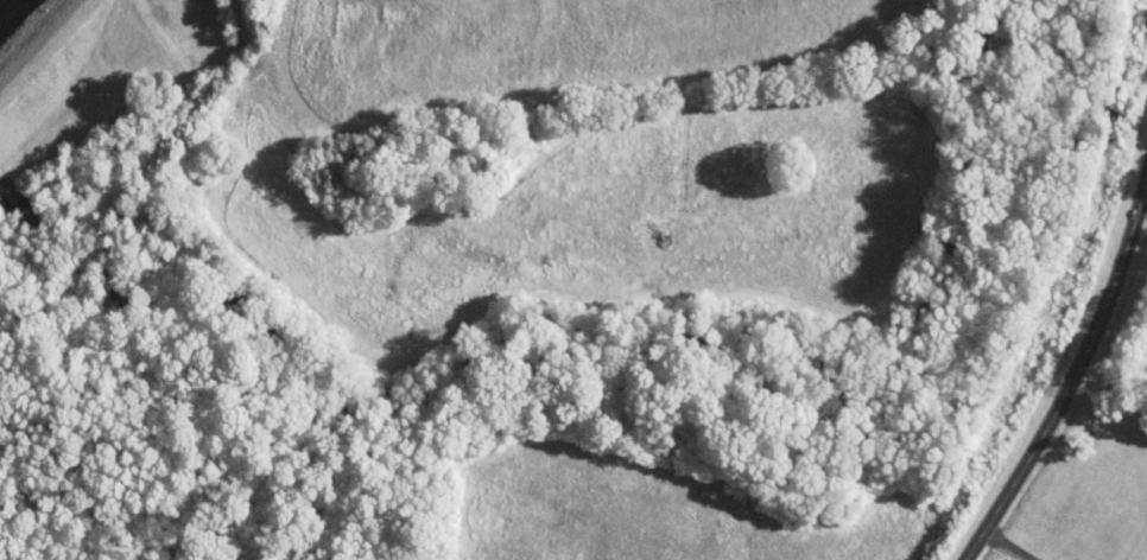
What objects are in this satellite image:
road: (1075, 376)
road: (1019, 542)

